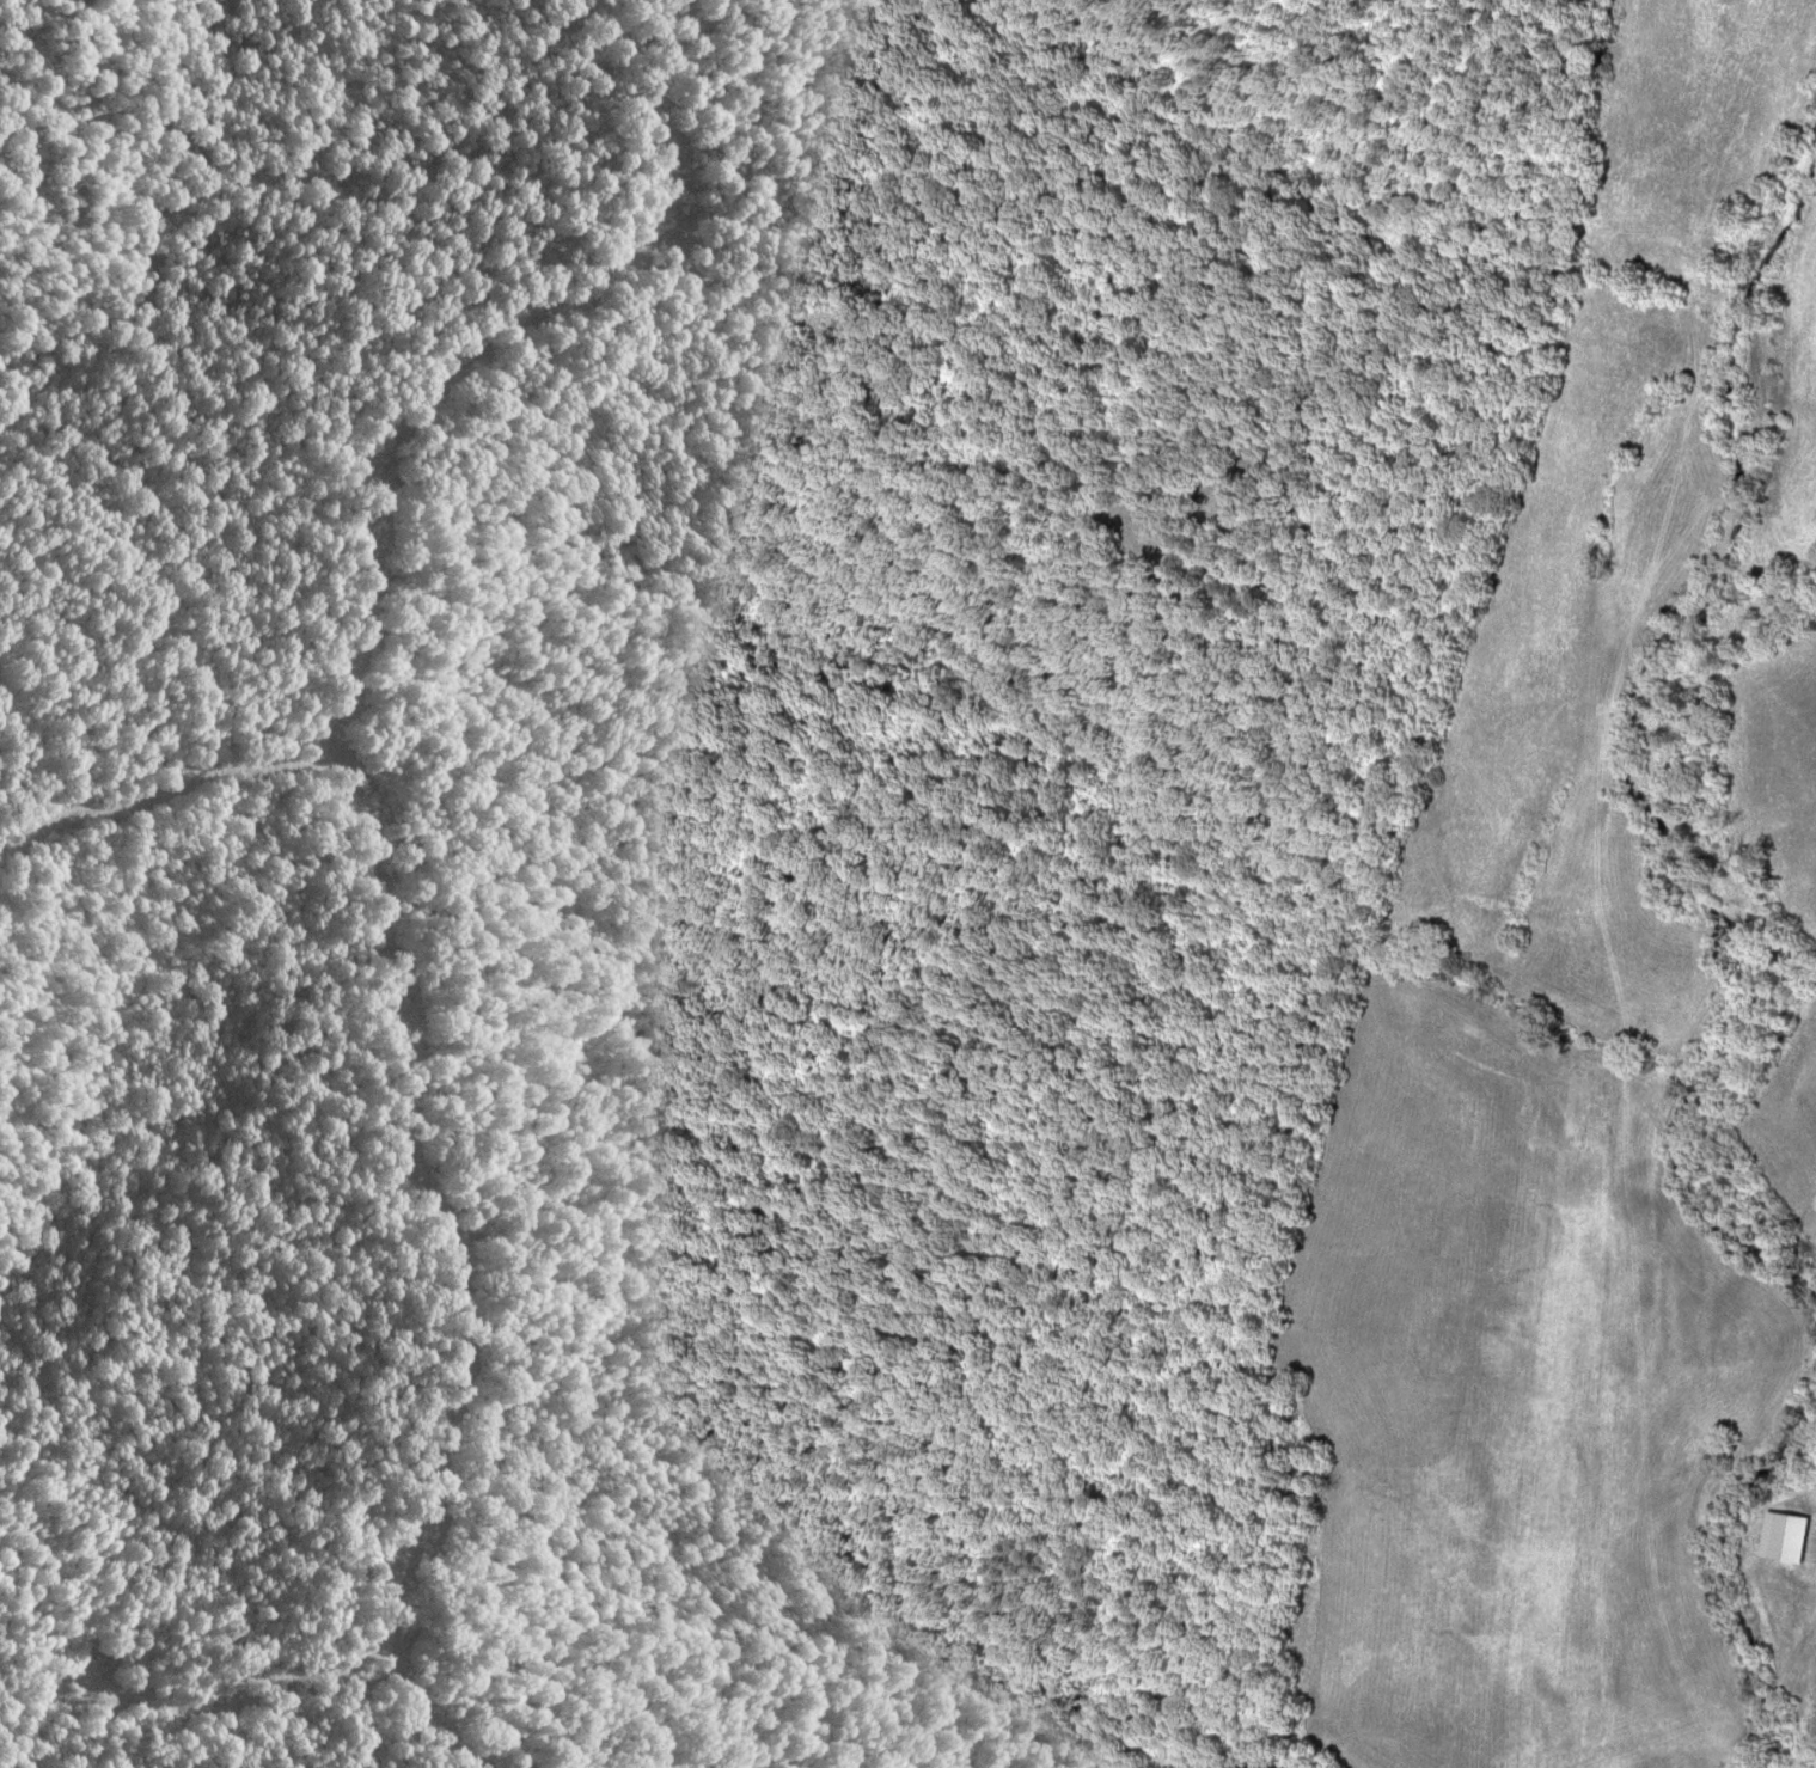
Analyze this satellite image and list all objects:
road: (1806, 1723)

